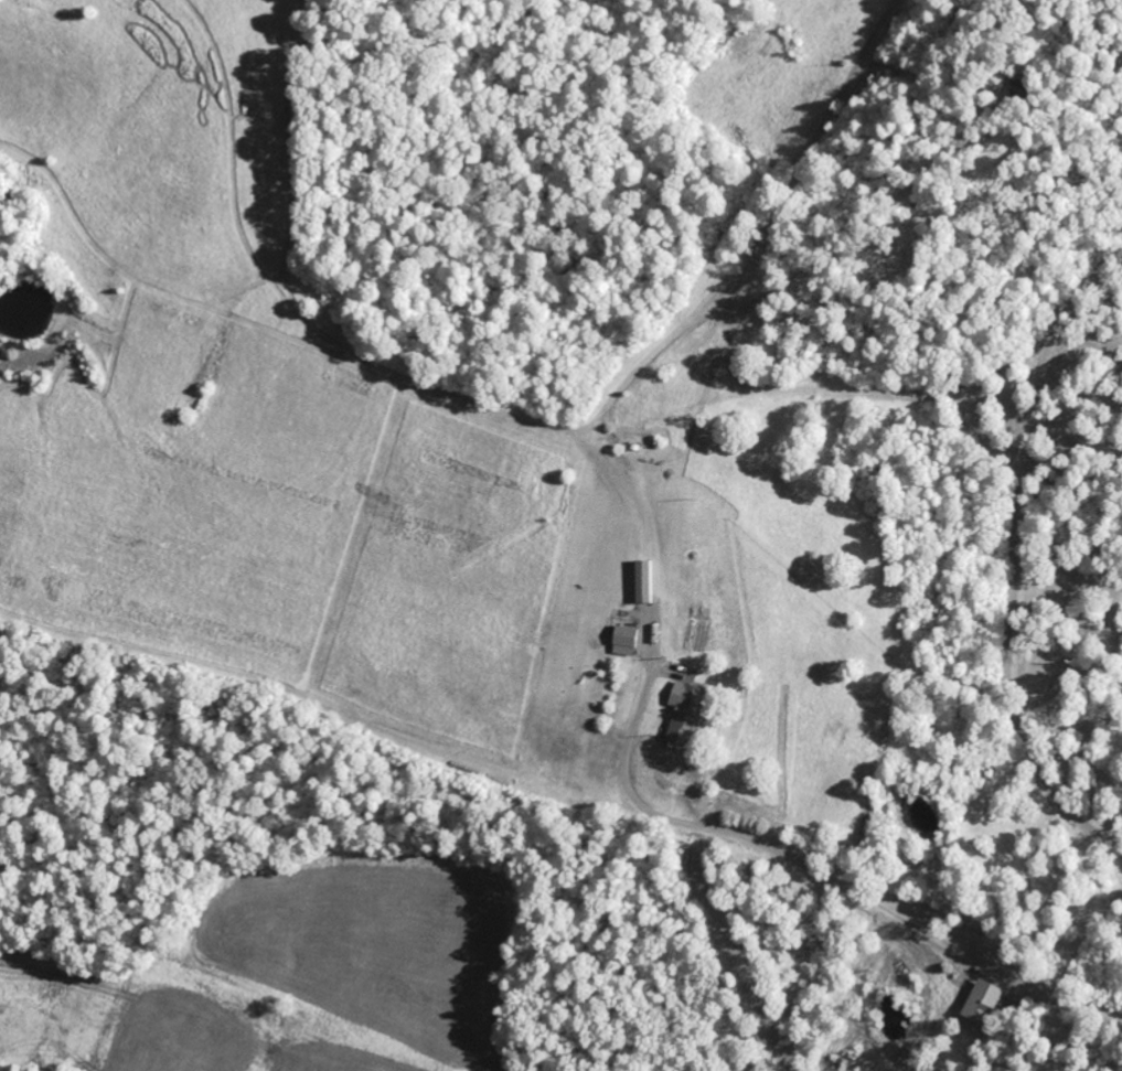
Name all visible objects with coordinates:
road: (1021, 557)
building: (648, 581)
building: (629, 641)
building: (691, 713)
road: (814, 865)
building: (989, 1002)

